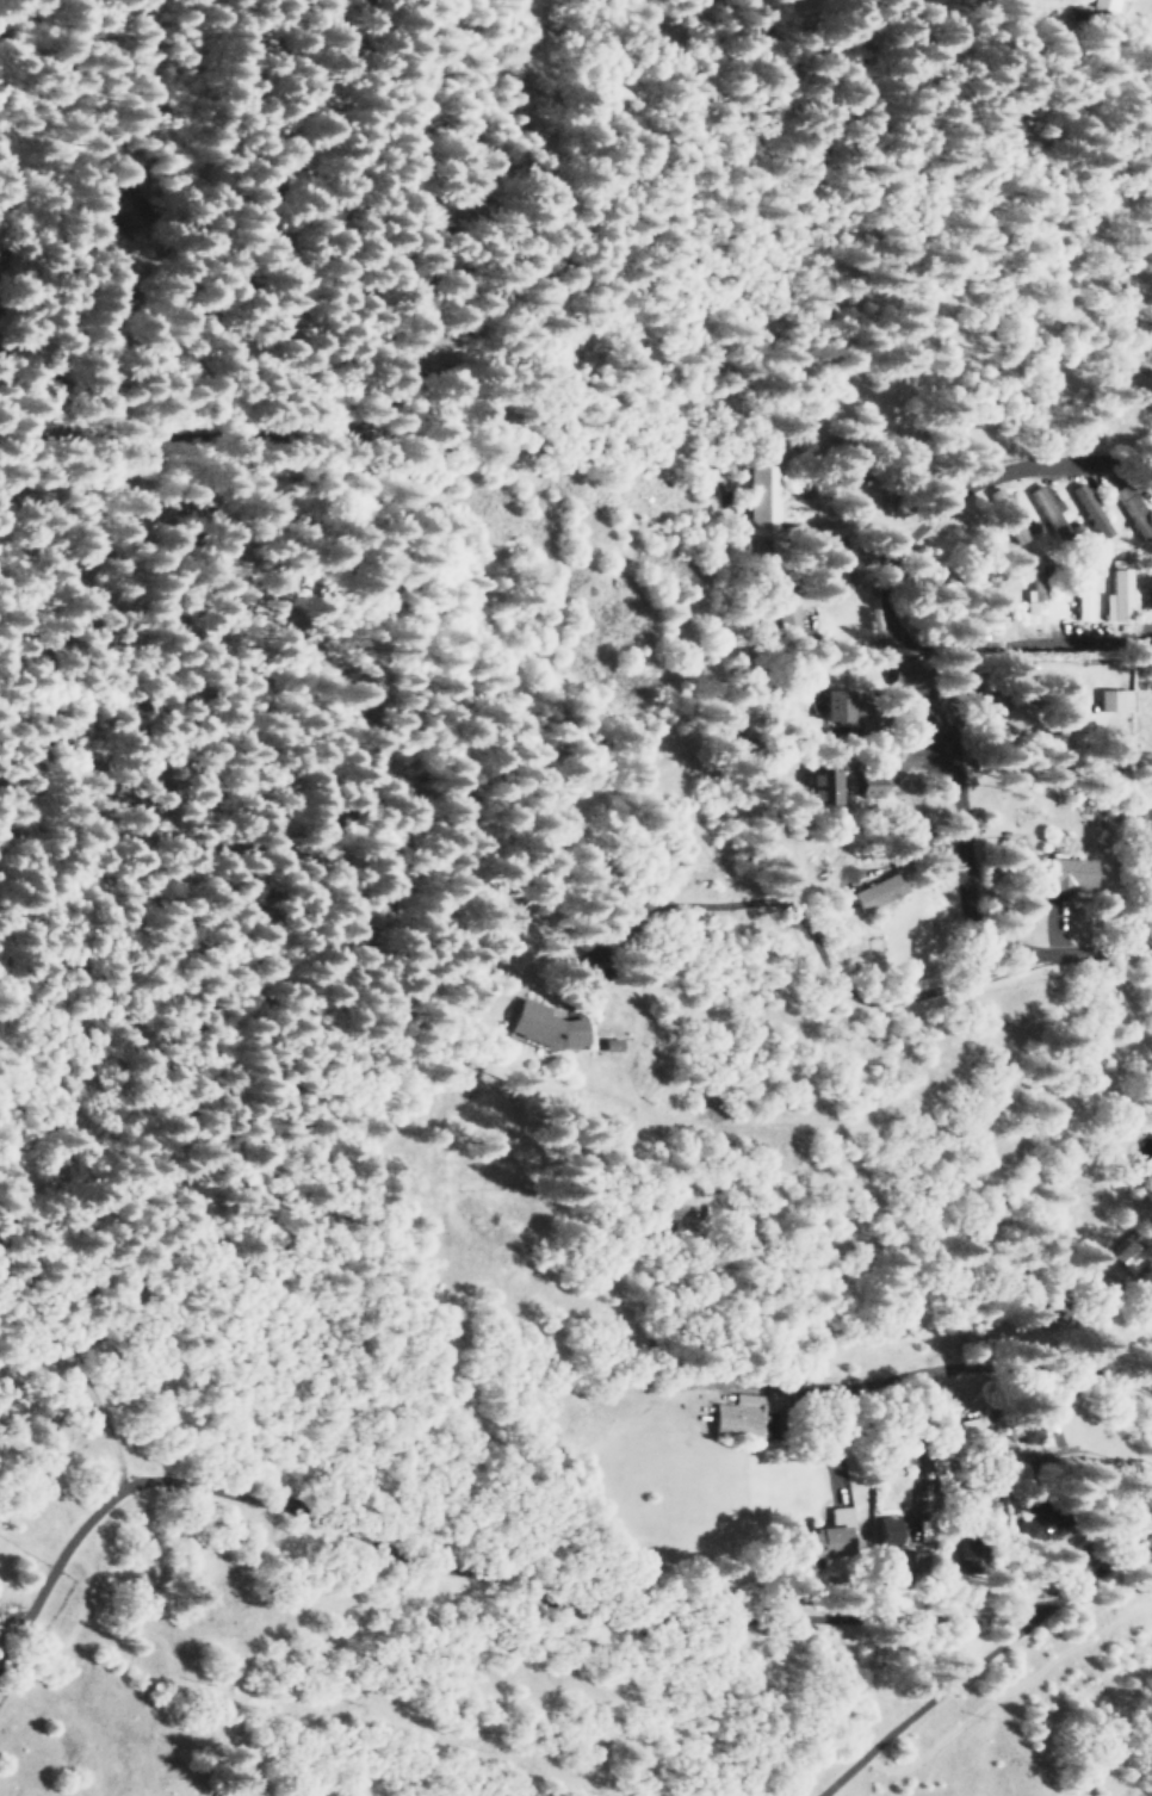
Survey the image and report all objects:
road: (262, 438)
road: (781, 500)
road: (986, 832)
road: (949, 983)
road: (1010, 1313)
road: (944, 1505)

